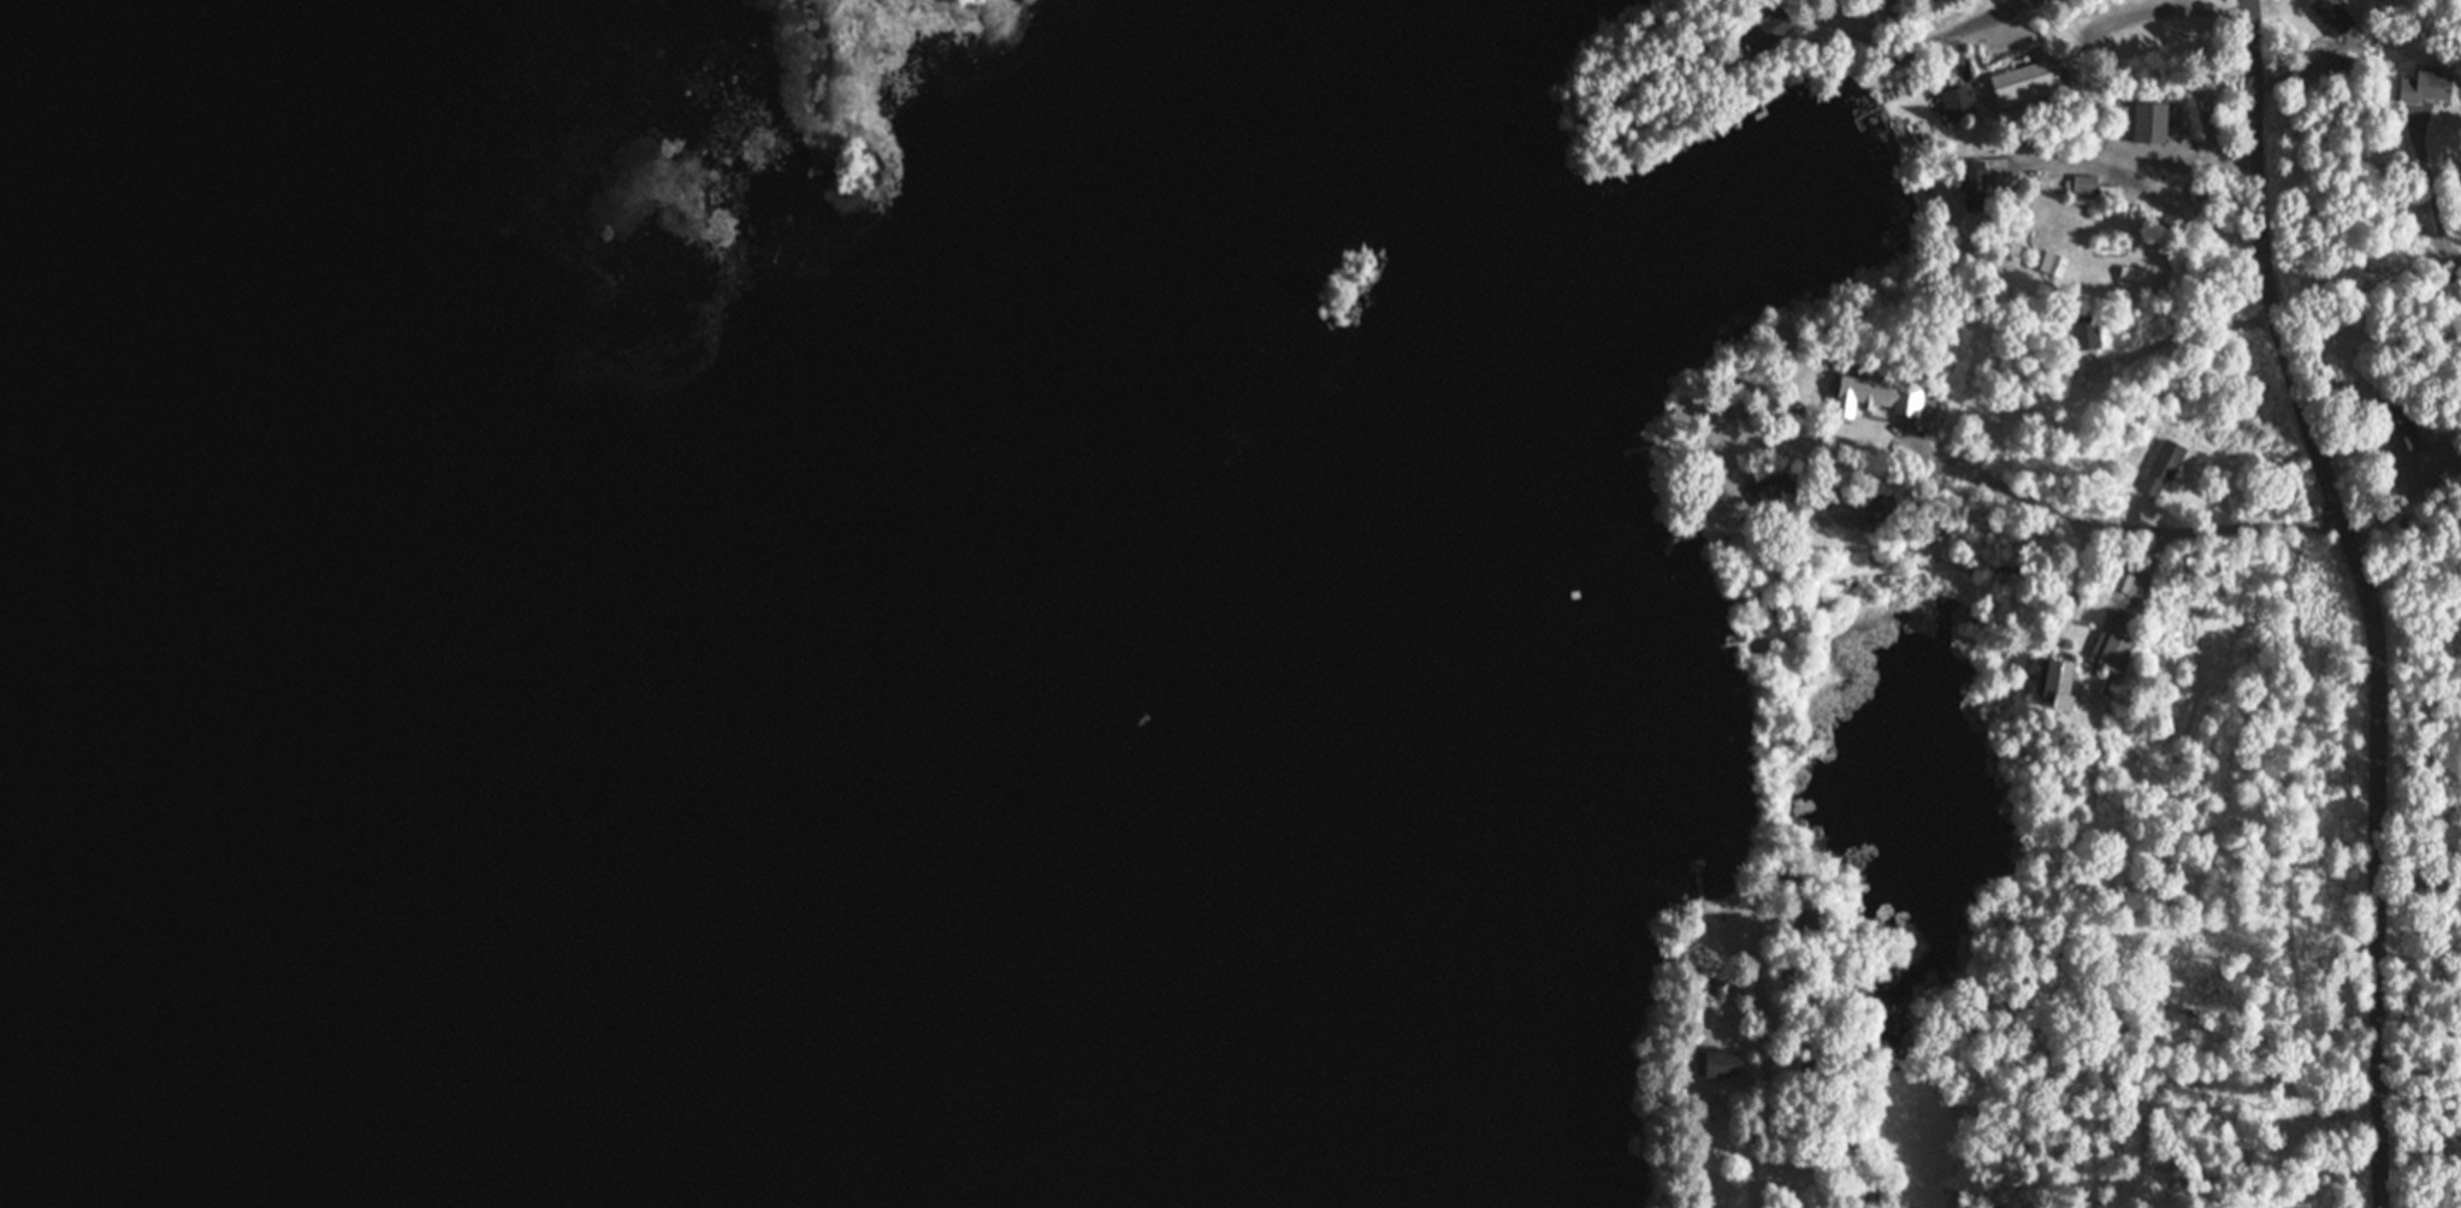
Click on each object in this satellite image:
road: (1968, 26)
building: (1769, 30)
building: (2347, 65)
river: (31, 77)
building: (2027, 83)
building: (2430, 87)
building: (1958, 102)
building: (2152, 122)
building: (2088, 185)
building: (1977, 186)
road: (2451, 239)
building: (2054, 263)
building: (2132, 272)
building: (1881, 396)
building: (2400, 428)
building: (2164, 469)
building: (1779, 492)
road: (2053, 502)
building: (1881, 509)
road: (2374, 594)
building: (2113, 650)
building: (2060, 682)
river: (66, 895)
building: (1809, 922)
building: (1718, 1065)
road: (1734, 1155)

